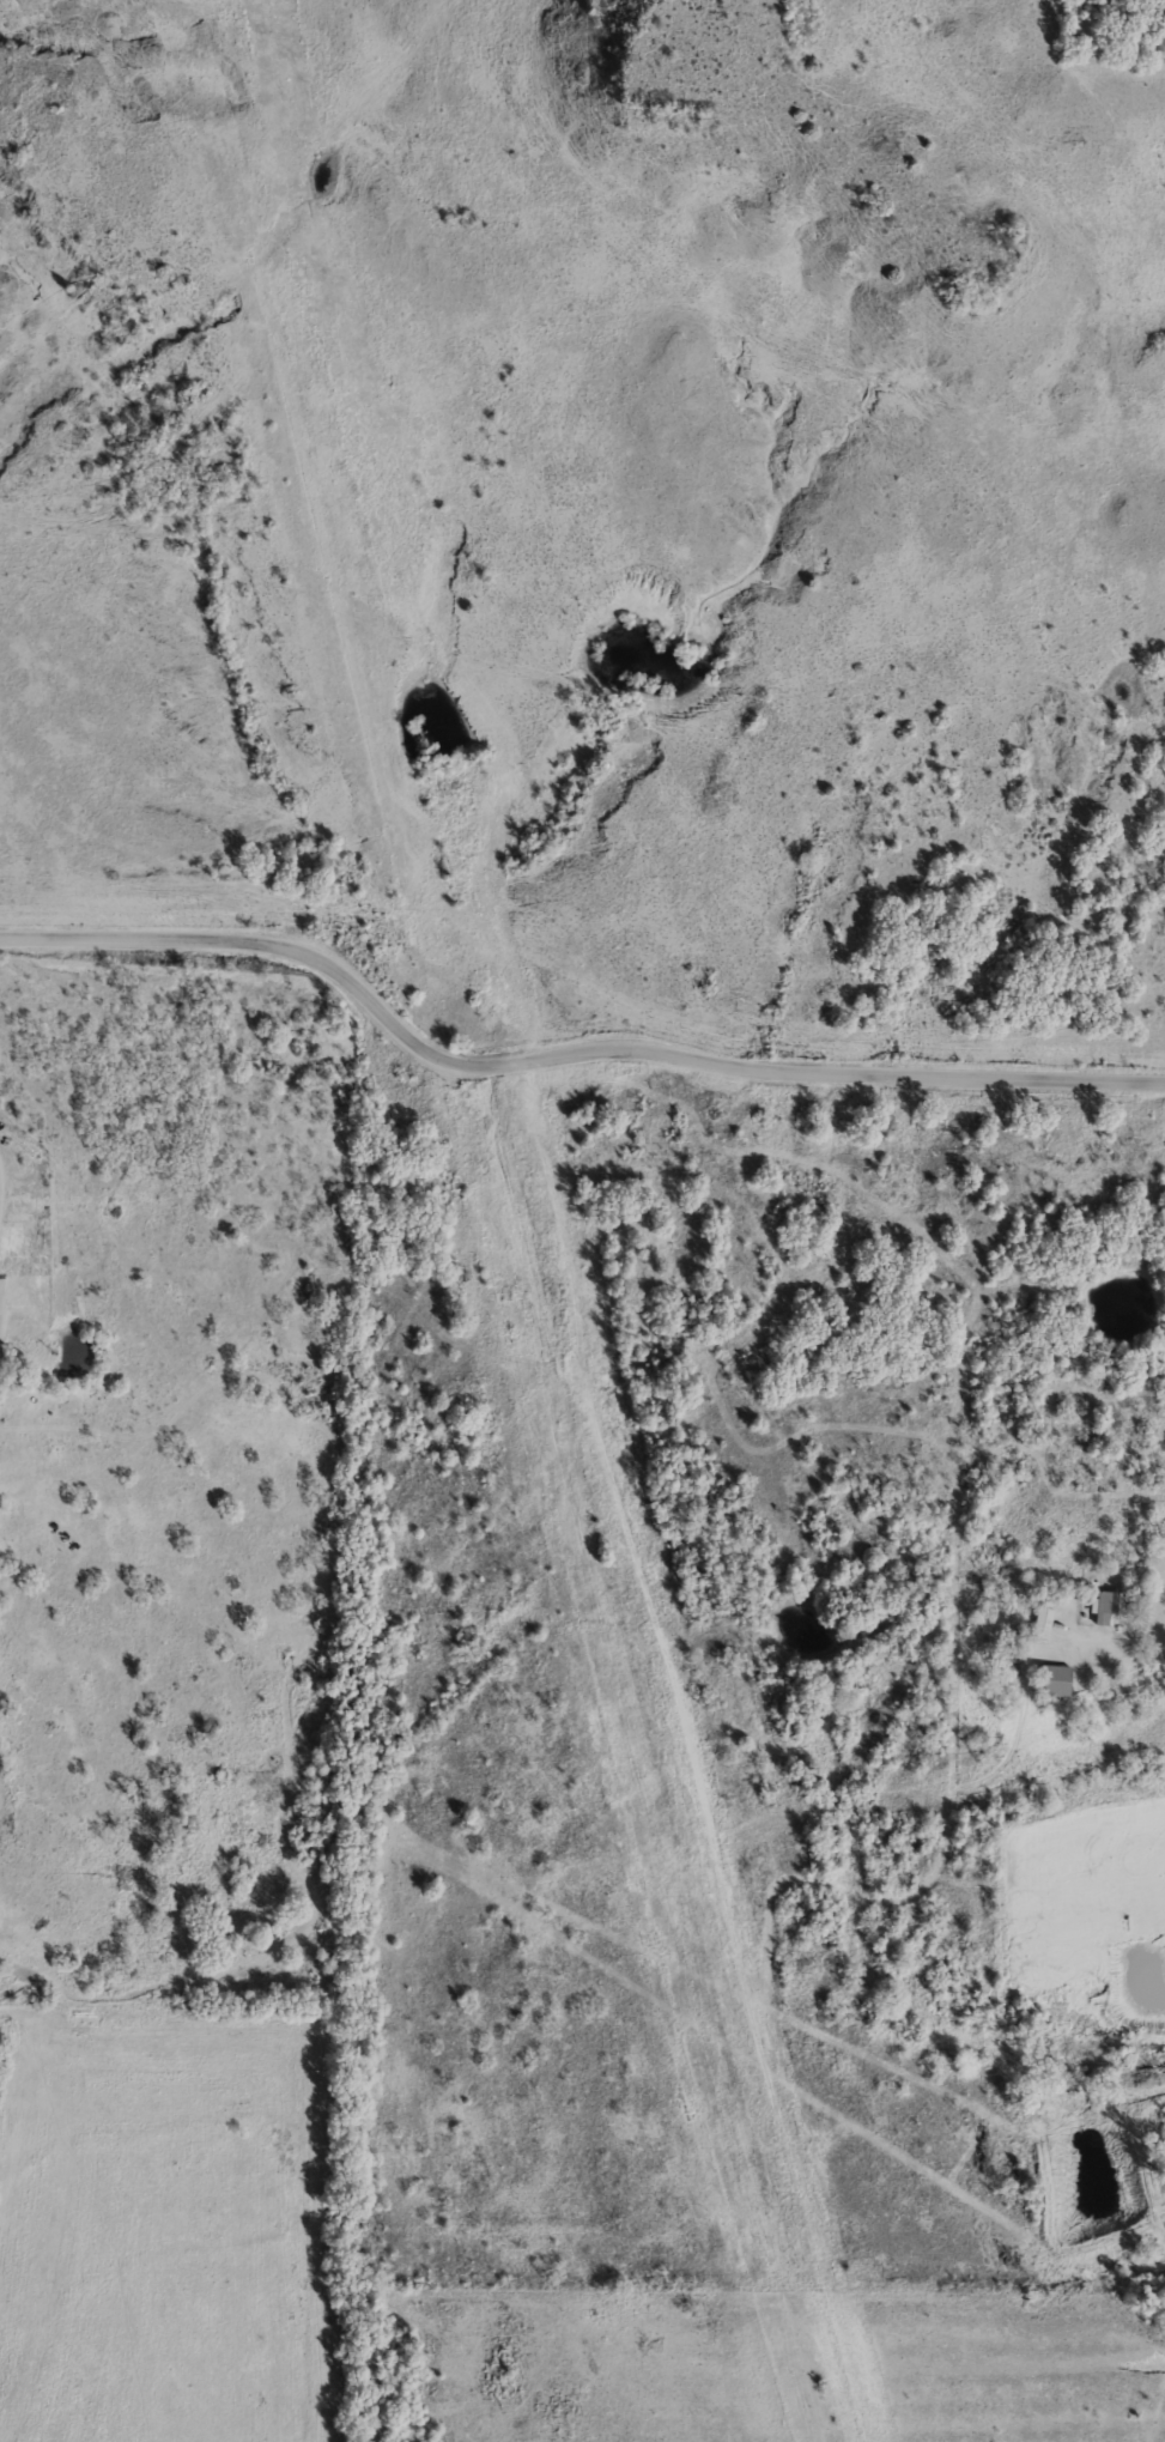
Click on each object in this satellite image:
road: (563, 1055)
road: (0, 1177)
road: (1, 1311)
building: (1108, 1606)
building: (1040, 1623)
road: (1124, 1640)
building: (1052, 1680)

